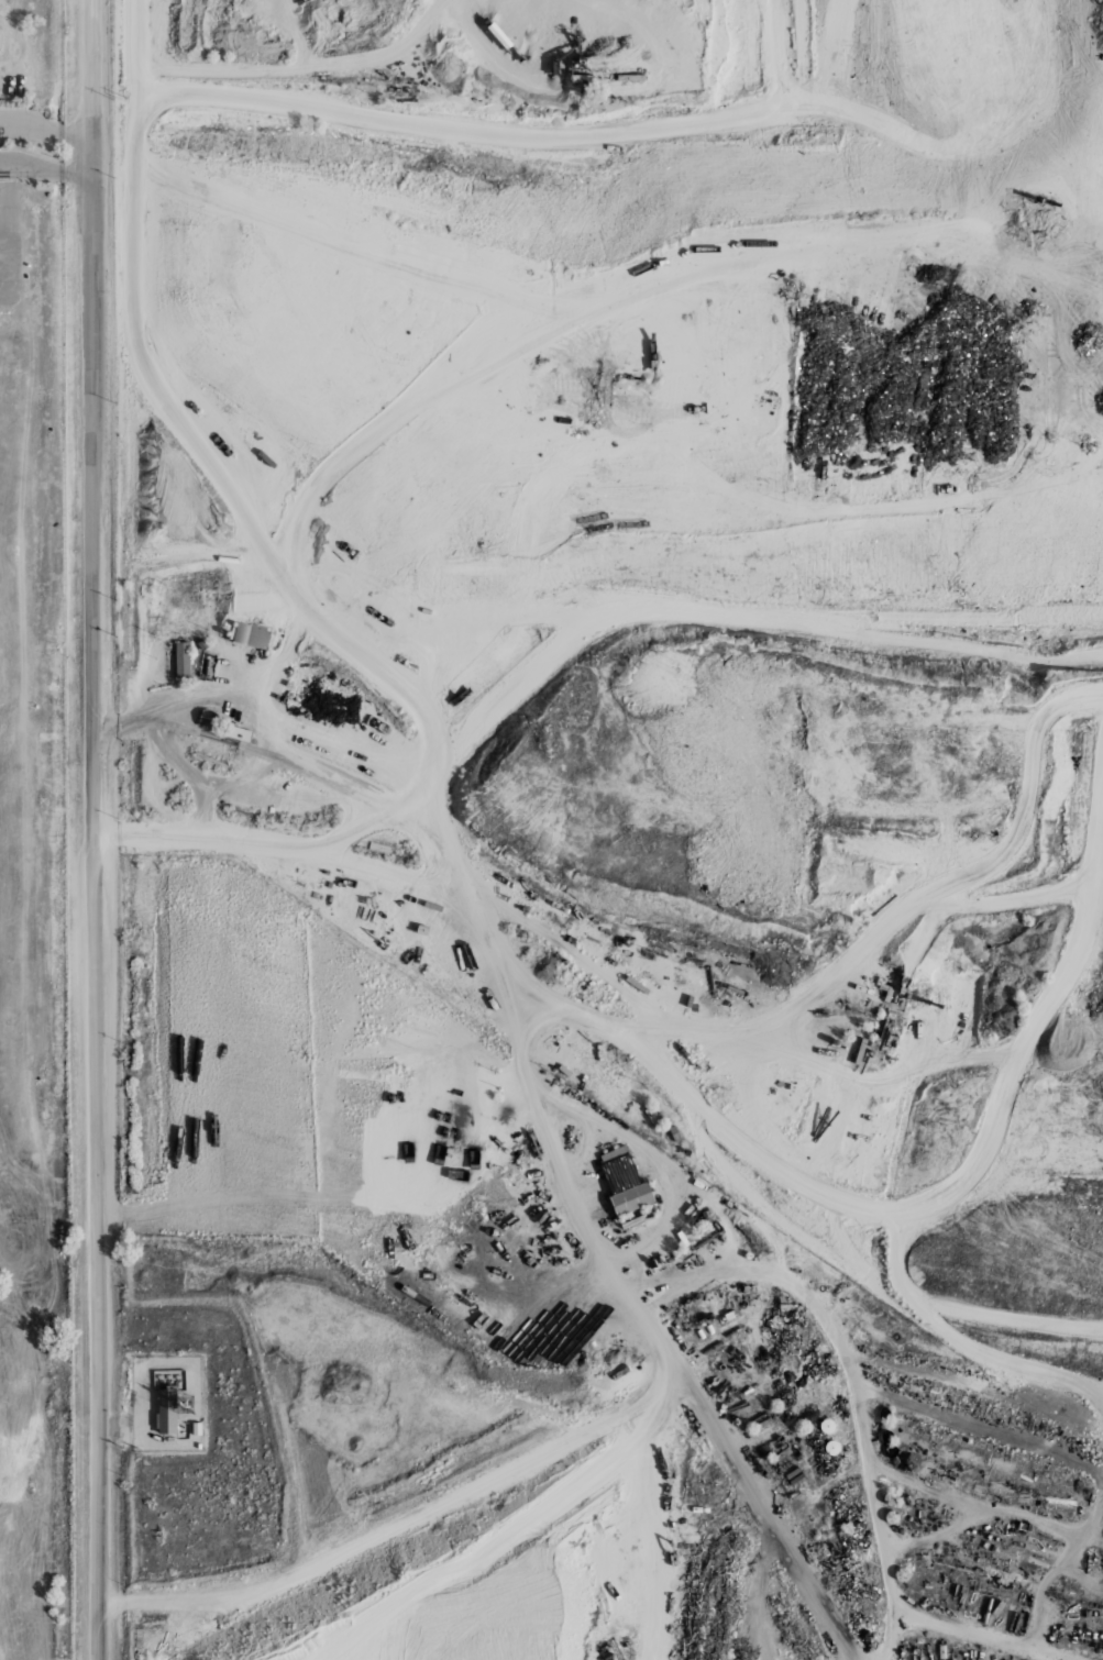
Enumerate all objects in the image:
road: (2, 66)
road: (128, 79)
road: (407, 135)
road: (77, 153)
road: (85, 156)
road: (224, 482)
road: (128, 523)
building: (228, 560)
building: (261, 591)
building: (408, 604)
building: (251, 633)
building: (205, 643)
road: (280, 645)
building: (184, 659)
road: (537, 662)
building: (208, 718)
building: (239, 732)
building: (210, 761)
road: (189, 770)
road: (242, 775)
road: (1028, 804)
road: (96, 829)
road: (341, 835)
road: (442, 845)
landfill: (36, 846)
building: (382, 848)
road: (1067, 976)
road: (614, 983)
building: (883, 985)
building: (889, 993)
building: (911, 995)
building: (892, 1015)
road: (637, 1023)
building: (839, 1041)
building: (861, 1050)
building: (566, 1067)
building: (609, 1095)
road: (542, 1126)
building: (673, 1132)
road: (748, 1147)
building: (619, 1167)
building: (635, 1197)
building: (682, 1237)
building: (749, 1253)
road: (896, 1257)
road: (924, 1309)
building: (726, 1316)
road: (852, 1380)
building: (747, 1388)
building: (168, 1410)
building: (826, 1425)
road: (973, 1425)
building: (198, 1428)
building: (200, 1445)
building: (831, 1447)
building: (790, 1472)
road: (496, 1475)
building: (795, 1478)
building: (31, 1487)
road: (658, 1501)
road: (983, 1502)
road: (757, 1503)
road: (528, 1523)
road: (938, 1532)
road: (1060, 1561)
road: (1081, 1574)
road: (220, 1592)
road: (224, 1615)
road: (979, 1633)

